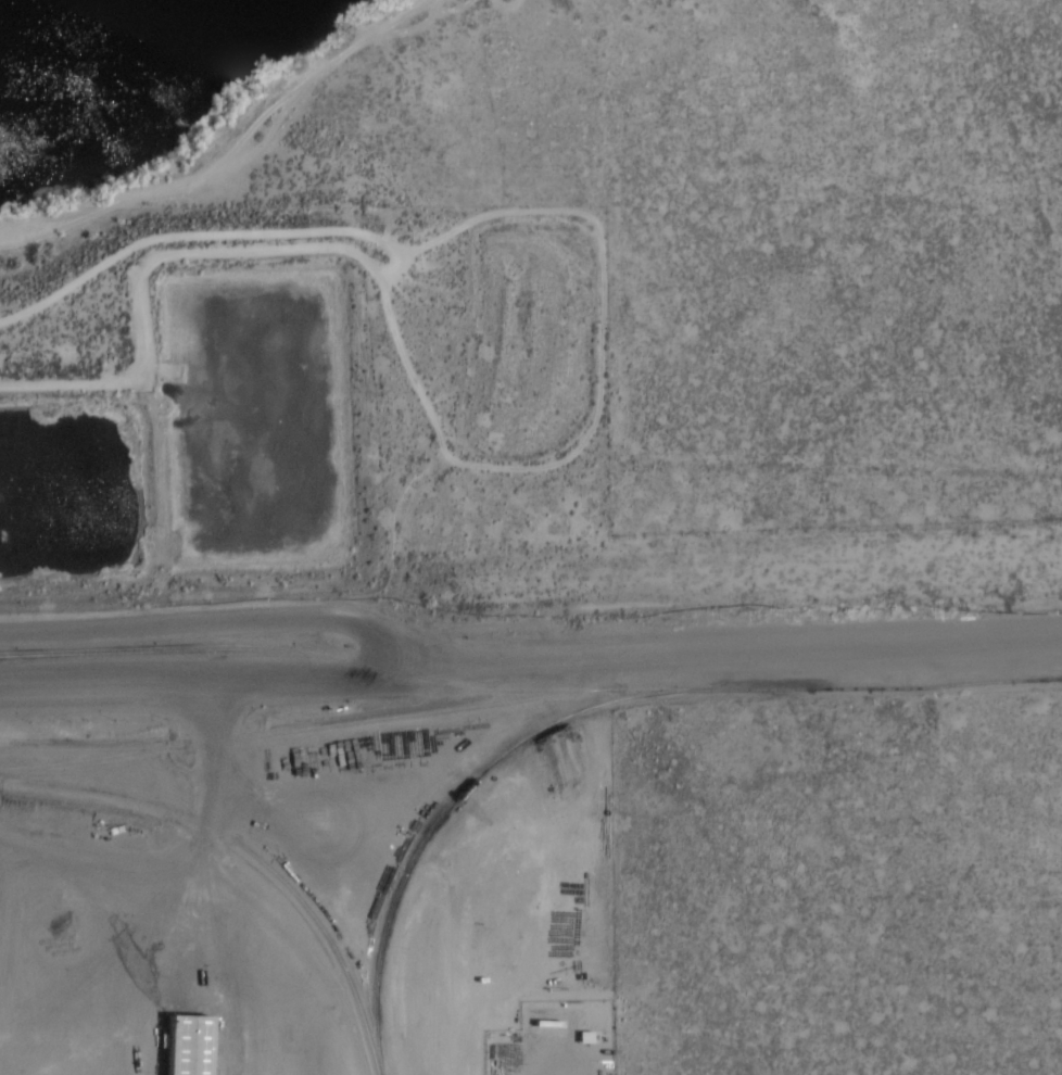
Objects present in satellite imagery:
road: (531, 665)
railway: (529, 691)
railway: (308, 729)
railway: (92, 749)
railway: (454, 805)
railway: (249, 851)
power plant: (308, 862)
building: (190, 1046)

